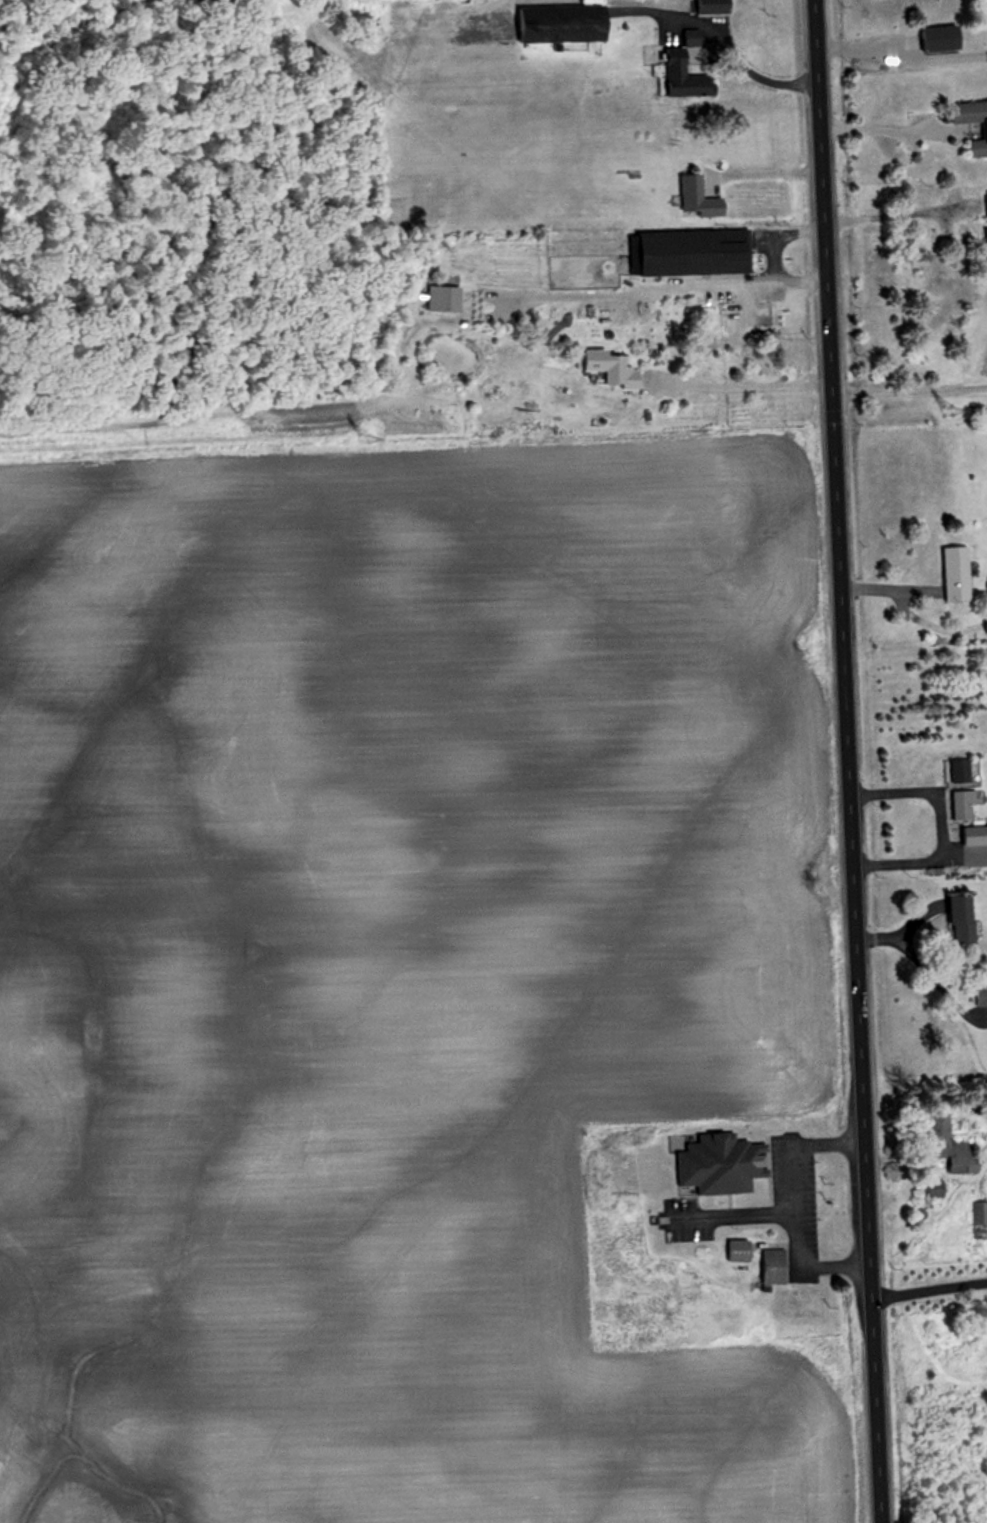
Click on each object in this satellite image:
building: (706, 5)
building: (557, 23)
building: (935, 38)
road: (760, 69)
building: (678, 76)
road: (881, 128)
building: (981, 132)
road: (763, 168)
building: (692, 198)
building: (985, 206)
road: (889, 214)
building: (984, 248)
building: (687, 252)
road: (766, 256)
building: (605, 367)
road: (745, 389)
road: (908, 394)
power tower: (946, 409)
power tower: (362, 437)
building: (952, 574)
road: (908, 613)
road: (845, 761)
building: (956, 771)
building: (959, 805)
road: (934, 824)
building: (971, 835)
building: (956, 920)
building: (979, 997)
building: (944, 1144)
building: (716, 1164)
building: (932, 1188)
road: (790, 1206)
building: (978, 1219)
building: (734, 1250)
building: (769, 1266)
road: (927, 1282)

